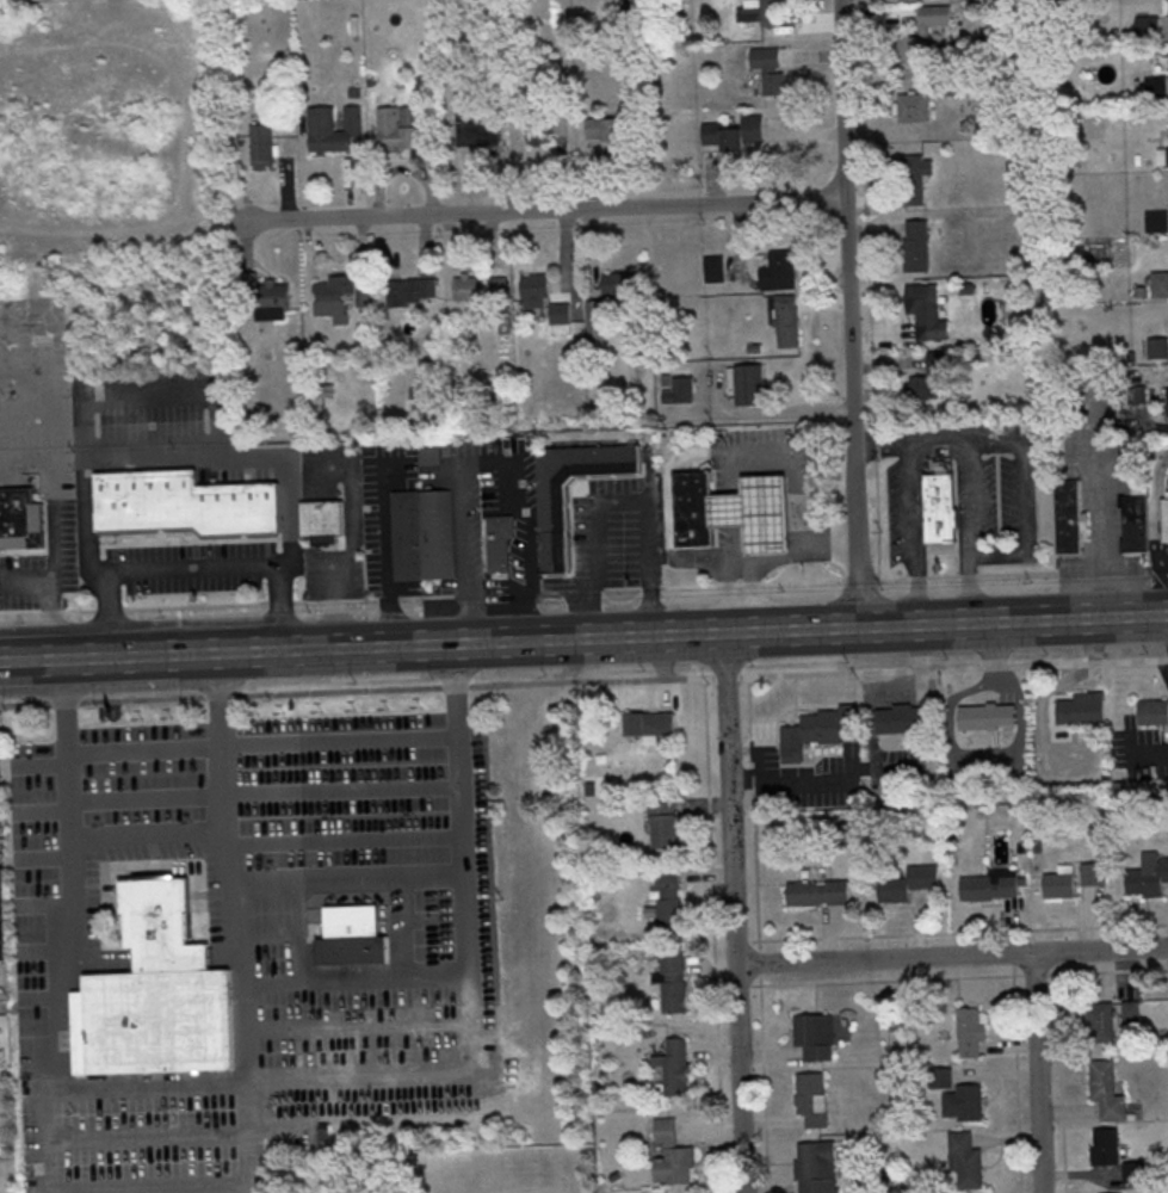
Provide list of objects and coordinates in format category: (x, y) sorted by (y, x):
building: (759, 11)
building: (923, 35)
building: (768, 67)
building: (1156, 86)
building: (913, 106)
building: (610, 125)
building: (400, 126)
building: (476, 126)
building: (333, 128)
building: (538, 129)
building: (734, 132)
building: (261, 143)
building: (1166, 155)
building: (914, 178)
road: (537, 211)
building: (1155, 220)
building: (916, 245)
building: (713, 267)
building: (778, 270)
building: (1158, 283)
building: (618, 284)
building: (495, 285)
building: (464, 286)
building: (410, 289)
building: (533, 291)
building: (333, 296)
building: (271, 303)
building: (560, 311)
building: (926, 313)
road: (849, 314)
building: (786, 320)
building: (929, 378)
building: (747, 383)
building: (678, 389)
building: (1135, 394)
building: (1166, 400)
road: (929, 438)
road: (879, 441)
building: (428, 452)
road: (784, 453)
road: (180, 459)
road: (486, 459)
road: (49, 497)
road: (613, 497)
road: (1021, 497)
building: (184, 502)
building: (939, 506)
building: (690, 507)
road: (727, 509)
building: (753, 512)
road: (1154, 513)
building: (1069, 515)
building: (20, 518)
building: (321, 519)
building: (1162, 519)
building: (1133, 521)
building: (554, 524)
building: (420, 533)
road: (1100, 538)
building: (498, 540)
road: (381, 548)
road: (779, 557)
road: (192, 567)
road: (797, 580)
road: (727, 596)
road: (752, 596)
road: (227, 604)
road: (707, 632)
road: (233, 651)
road: (109, 657)
road: (817, 672)
road: (10, 704)
building: (1081, 707)
building: (1152, 710)
building: (985, 715)
building: (903, 718)
building: (649, 724)
building: (814, 730)
road: (259, 744)
road: (38, 764)
road: (787, 780)
road: (260, 793)
road: (41, 809)
building: (663, 823)
road: (147, 833)
road: (342, 841)
road: (42, 857)
road: (457, 870)
building: (1093, 872)
building: (1148, 874)
building: (908, 882)
building: (1059, 882)
building: (989, 884)
building: (817, 891)
building: (668, 900)
road: (44, 903)
road: (734, 911)
building: (2, 919)
road: (469, 926)
road: (403, 928)
road: (295, 935)
building: (352, 935)
road: (45, 950)
road: (951, 956)
road: (172, 957)
road: (224, 957)
road: (104, 958)
building: (669, 978)
building: (155, 993)
building: (1131, 1010)
building: (1099, 1020)
road: (364, 1025)
building: (970, 1031)
road: (487, 1032)
building: (815, 1034)
building: (674, 1065)
road: (1039, 1071)
building: (940, 1076)
road: (153, 1082)
building: (1106, 1089)
building: (811, 1096)
building: (963, 1101)
road: (42, 1130)
road: (144, 1136)
road: (246, 1136)
building: (1105, 1145)
building: (670, 1154)
building: (964, 1158)
building: (816, 1166)
building: (1133, 1170)
road: (146, 1187)
building: (1121, 1192)

